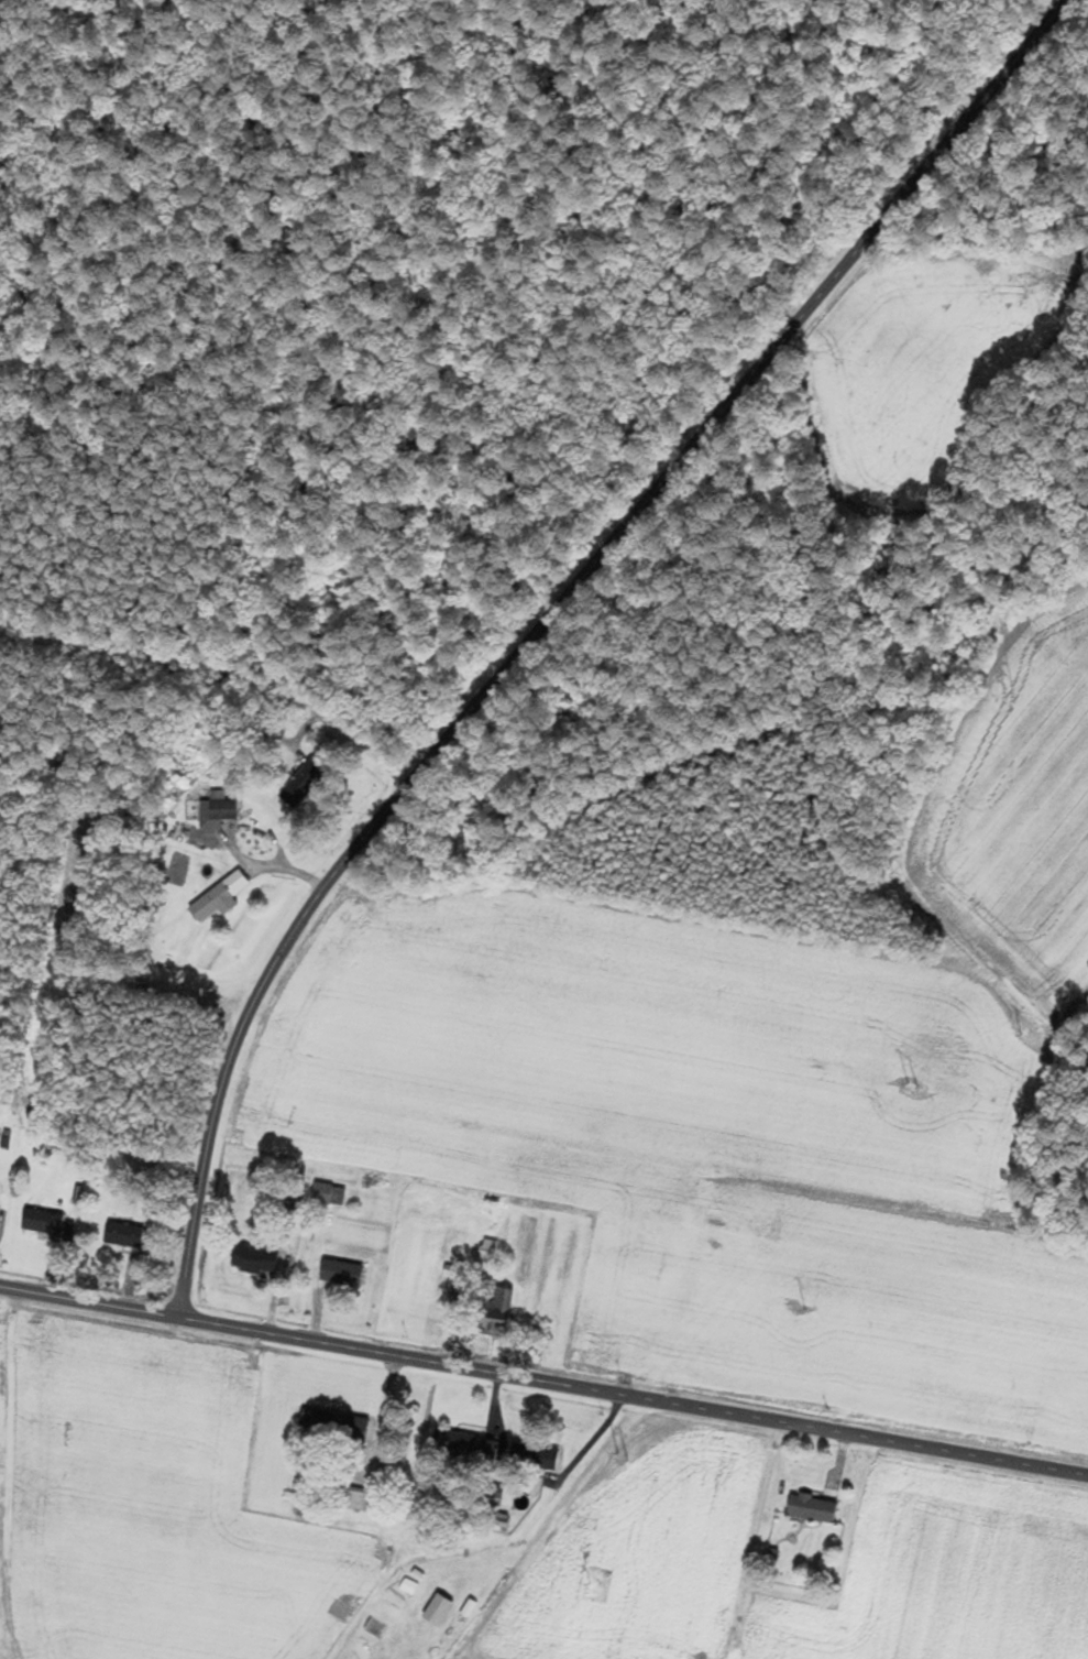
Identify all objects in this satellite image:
road: (558, 622)
road: (229, 673)
building: (299, 785)
building: (216, 812)
building: (212, 903)
road: (131, 961)
power tower: (915, 1087)
building: (323, 1194)
building: (41, 1222)
building: (122, 1235)
building: (486, 1255)
building: (254, 1258)
building: (340, 1274)
building: (496, 1316)
road: (543, 1377)
building: (332, 1425)
building: (452, 1443)
building: (487, 1449)
building: (535, 1456)
power tower: (623, 1458)
building: (358, 1498)
building: (811, 1507)
building: (407, 1586)
building: (437, 1608)
building: (373, 1627)

